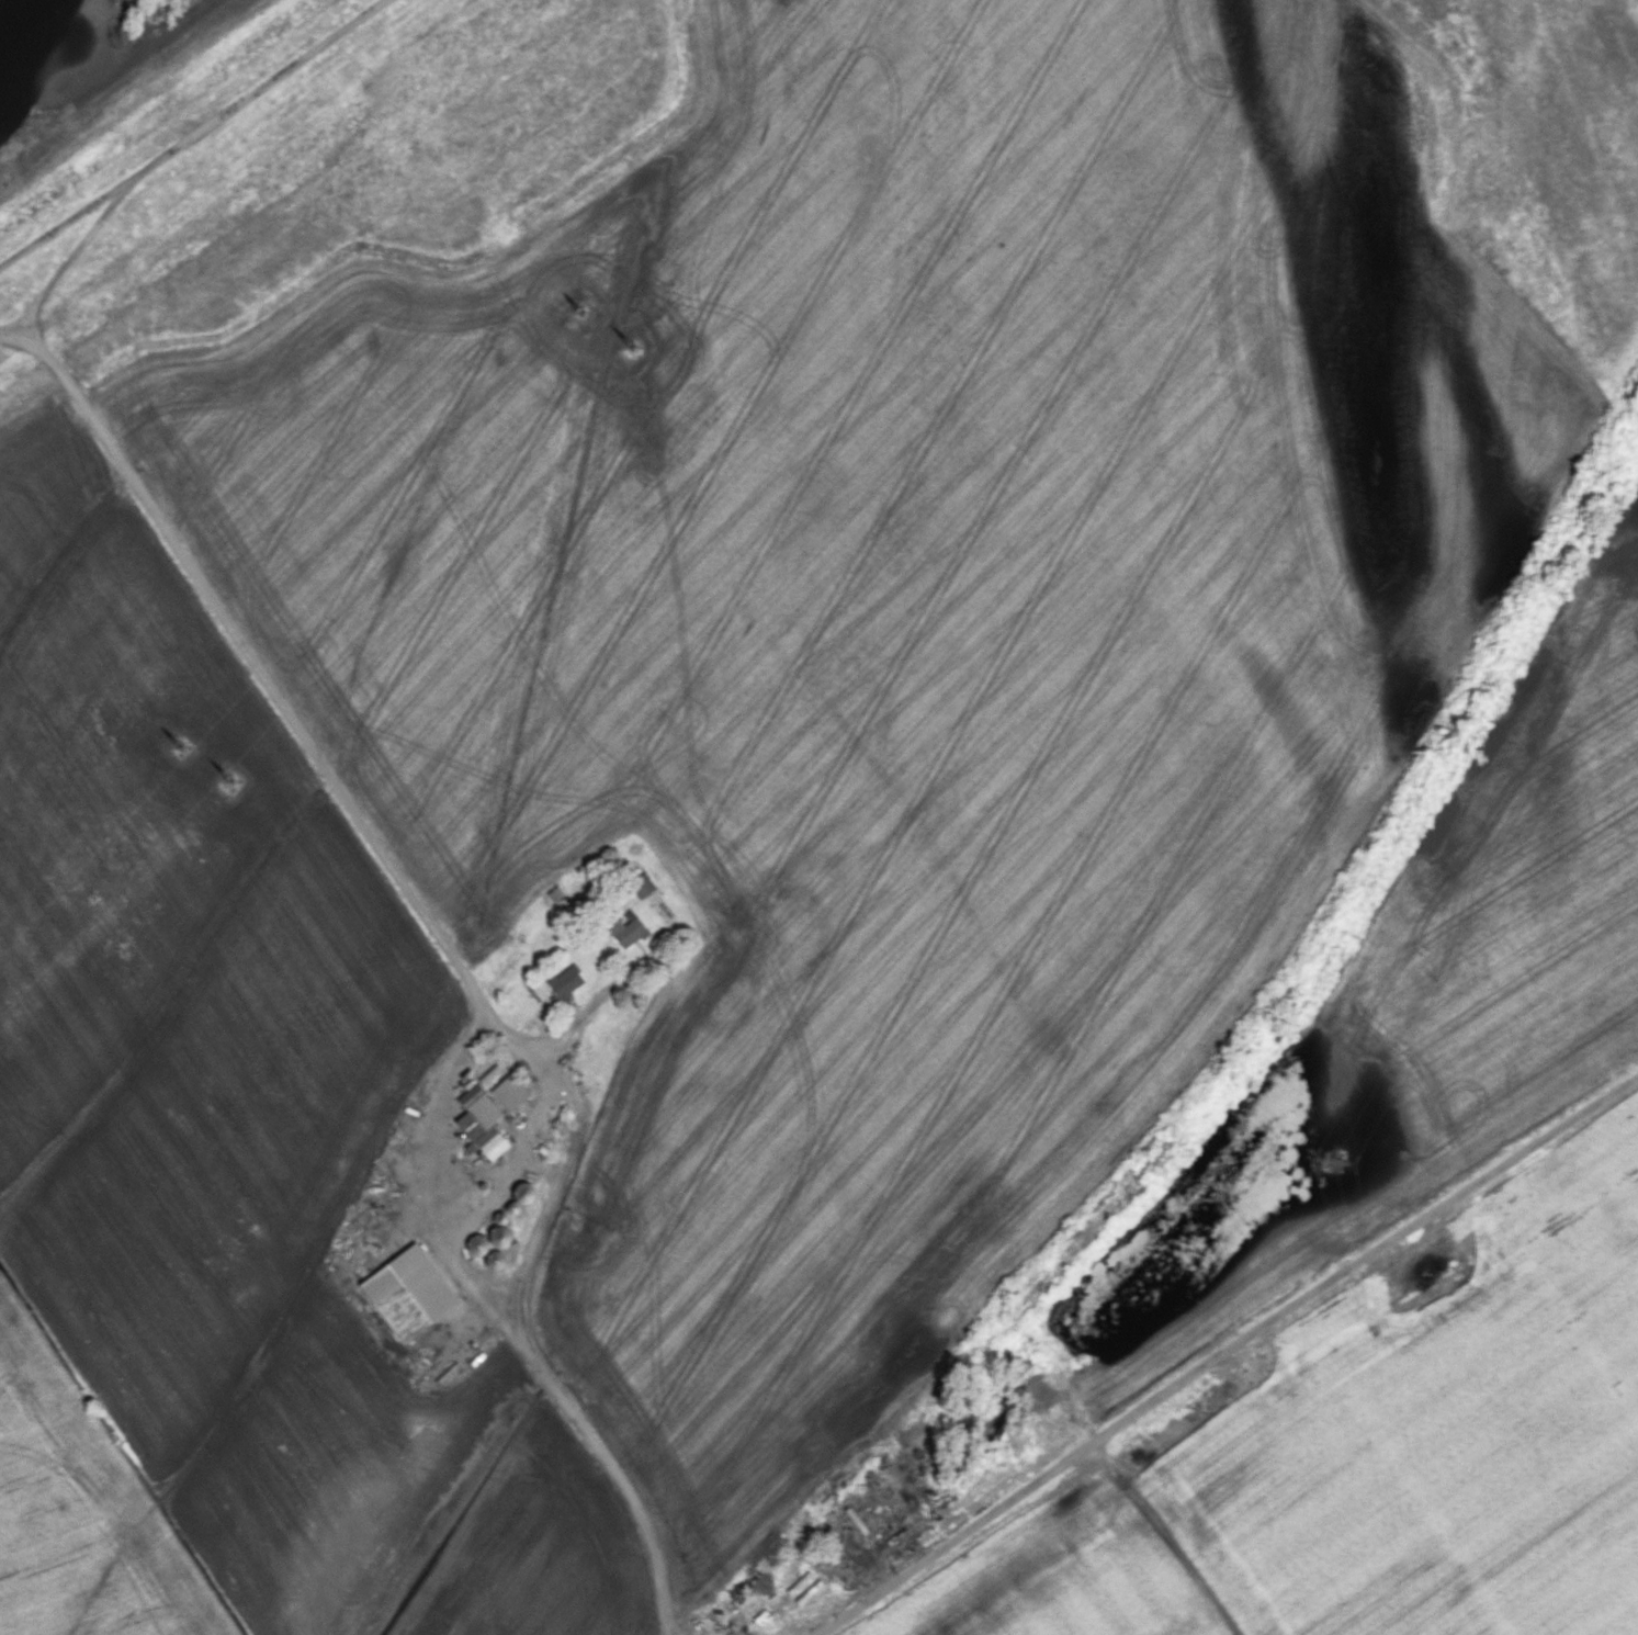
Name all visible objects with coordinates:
road: (170, 151)
road: (59, 228)
power tower: (584, 308)
power tower: (626, 350)
crop: (702, 731)
power tower: (181, 748)
power tower: (234, 780)
road: (460, 970)
road: (602, 996)
crop: (1431, 1007)
road: (519, 1152)
power tower: (1333, 1159)
road: (540, 1165)
road: (439, 1175)
road: (1218, 1353)
crop: (1374, 1453)
road: (1176, 1549)

